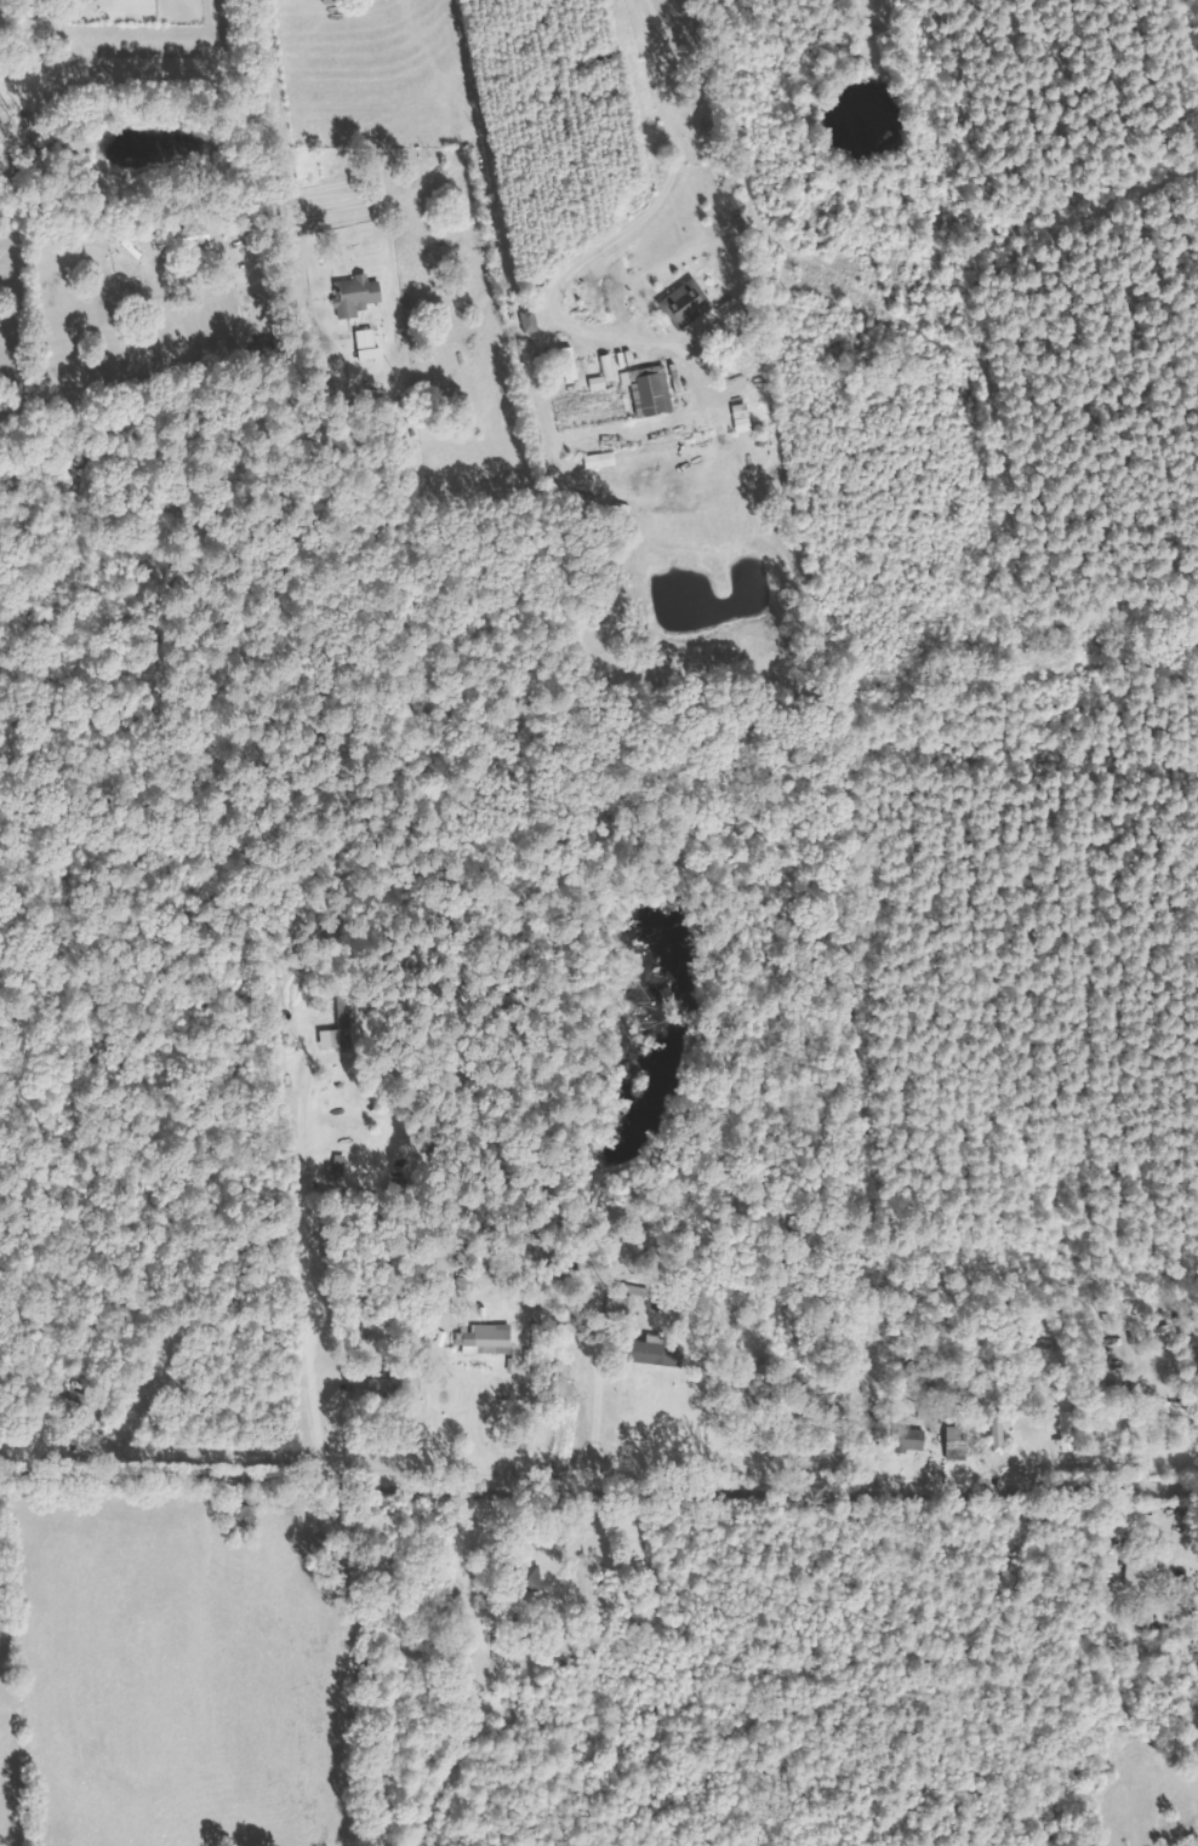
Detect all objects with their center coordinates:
building: (332, 1)
building: (200, 235)
building: (359, 295)
building: (691, 302)
building: (736, 314)
building: (532, 321)
building: (572, 365)
building: (601, 383)
building: (655, 392)
building: (745, 418)
building: (333, 1039)
building: (491, 1339)
building: (657, 1353)
building: (1071, 1431)
building: (914, 1440)
building: (960, 1440)
road: (598, 1496)
building: (1147, 1571)
building: (536, 1576)

